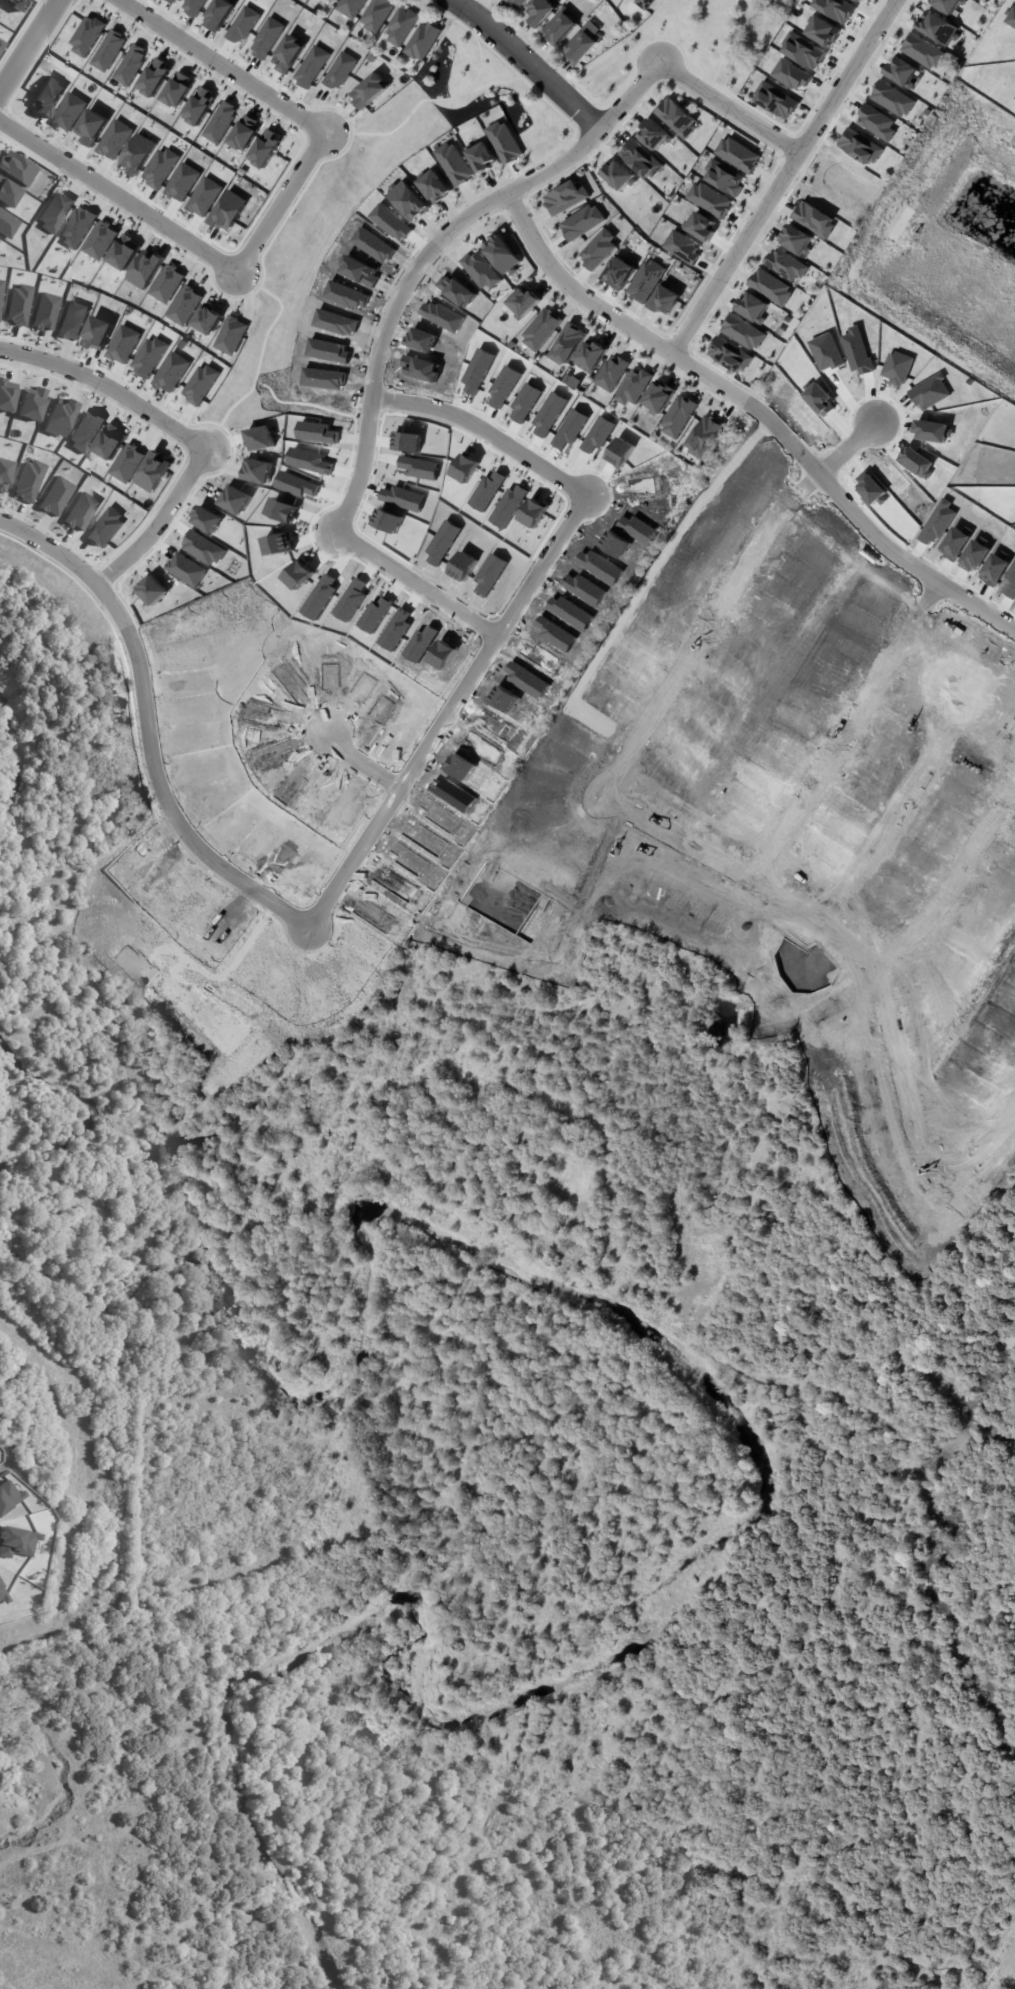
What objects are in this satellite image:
building: (334, 0)
building: (336, 0)
building: (857, 0)
building: (860, 0)
building: (981, 0)
building: (174, 1)
building: (517, 3)
building: (16, 4)
building: (645, 5)
building: (945, 5)
building: (194, 7)
building: (352, 8)
building: (834, 9)
building: (540, 12)
building: (219, 15)
building: (378, 15)
building: (242, 26)
building: (402, 27)
building: (561, 28)
building: (818, 28)
building: (937, 30)
building: (86, 36)
building: (266, 39)
building: (423, 42)
building: (0, 43)
road: (28, 43)
building: (581, 48)
building: (801, 50)
building: (108, 51)
building: (922, 52)
building: (288, 54)
road: (526, 64)
building: (130, 65)
road: (221, 65)
building: (311, 67)
building: (340, 71)
building: (900, 72)
building: (788, 74)
building: (154, 78)
building: (177, 90)
building: (369, 91)
building: (47, 97)
building: (892, 100)
building: (775, 101)
building: (198, 107)
building: (68, 112)
building: (677, 117)
building: (220, 123)
building: (875, 123)
building: (91, 128)
building: (244, 133)
building: (655, 134)
building: (114, 140)
building: (505, 142)
building: (860, 147)
building: (264, 150)
building: (737, 154)
building: (136, 155)
building: (484, 157)
building: (641, 159)
building: (454, 164)
building: (16, 169)
building: (159, 169)
building: (619, 174)
road: (782, 177)
building: (724, 178)
building: (182, 183)
building: (435, 186)
building: (8, 193)
road: (117, 197)
building: (566, 197)
building: (204, 198)
building: (410, 200)
road: (279, 201)
road: (492, 201)
building: (709, 202)
building: (228, 211)
building: (54, 212)
building: (813, 220)
building: (583, 222)
building: (696, 224)
building: (7, 225)
building: (77, 228)
building: (796, 240)
building: (99, 241)
building: (682, 245)
building: (599, 249)
building: (124, 253)
building: (502, 254)
building: (785, 265)
building: (144, 270)
building: (481, 270)
building: (618, 274)
building: (645, 282)
building: (166, 284)
building: (769, 287)
building: (666, 301)
building: (524, 303)
building: (18, 305)
building: (184, 306)
building: (752, 307)
building: (45, 312)
building: (207, 320)
building: (72, 321)
building: (540, 331)
building: (742, 332)
building: (97, 334)
building: (230, 336)
building: (565, 344)
building: (123, 345)
building: (729, 355)
building: (148, 357)
building: (586, 360)
building: (170, 373)
building: (610, 374)
building: (199, 385)
road: (105, 387)
building: (632, 387)
building: (6, 396)
building: (658, 398)
building: (31, 404)
road: (757, 412)
building: (677, 417)
building: (59, 418)
road: (481, 430)
building: (85, 431)
building: (704, 437)
building: (259, 439)
building: (110, 442)
road: (845, 447)
building: (126, 464)
building: (257, 471)
building: (153, 472)
building: (4, 474)
building: (29, 481)
building: (56, 497)
building: (235, 501)
building: (81, 512)
road: (155, 520)
building: (106, 528)
building: (202, 548)
building: (186, 570)
road: (412, 584)
building: (152, 591)
building: (648, 662)
road: (444, 709)
road: (145, 726)
road: (845, 732)
road: (358, 763)
road: (669, 839)
road: (950, 886)
road: (981, 1145)
park: (314, 1415)
building: (8, 1496)
building: (17, 1542)
building: (3, 1597)

